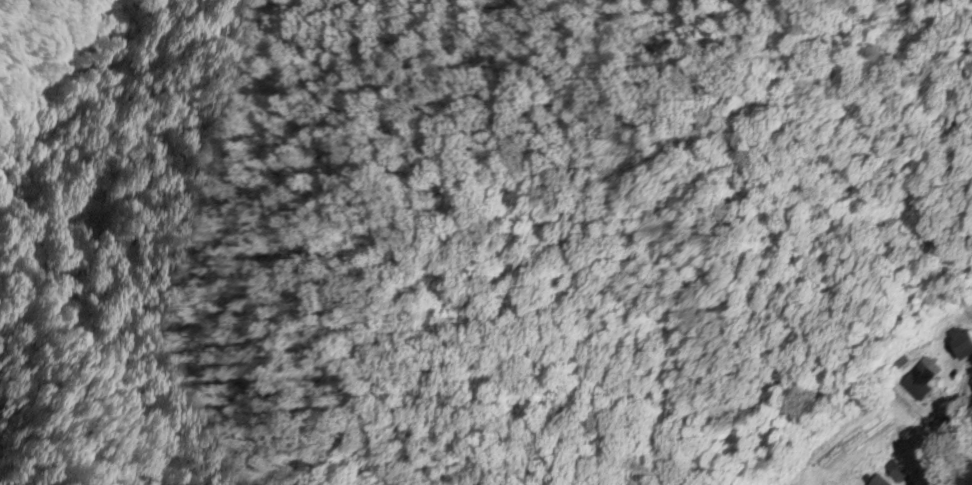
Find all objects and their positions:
road: (952, 450)

